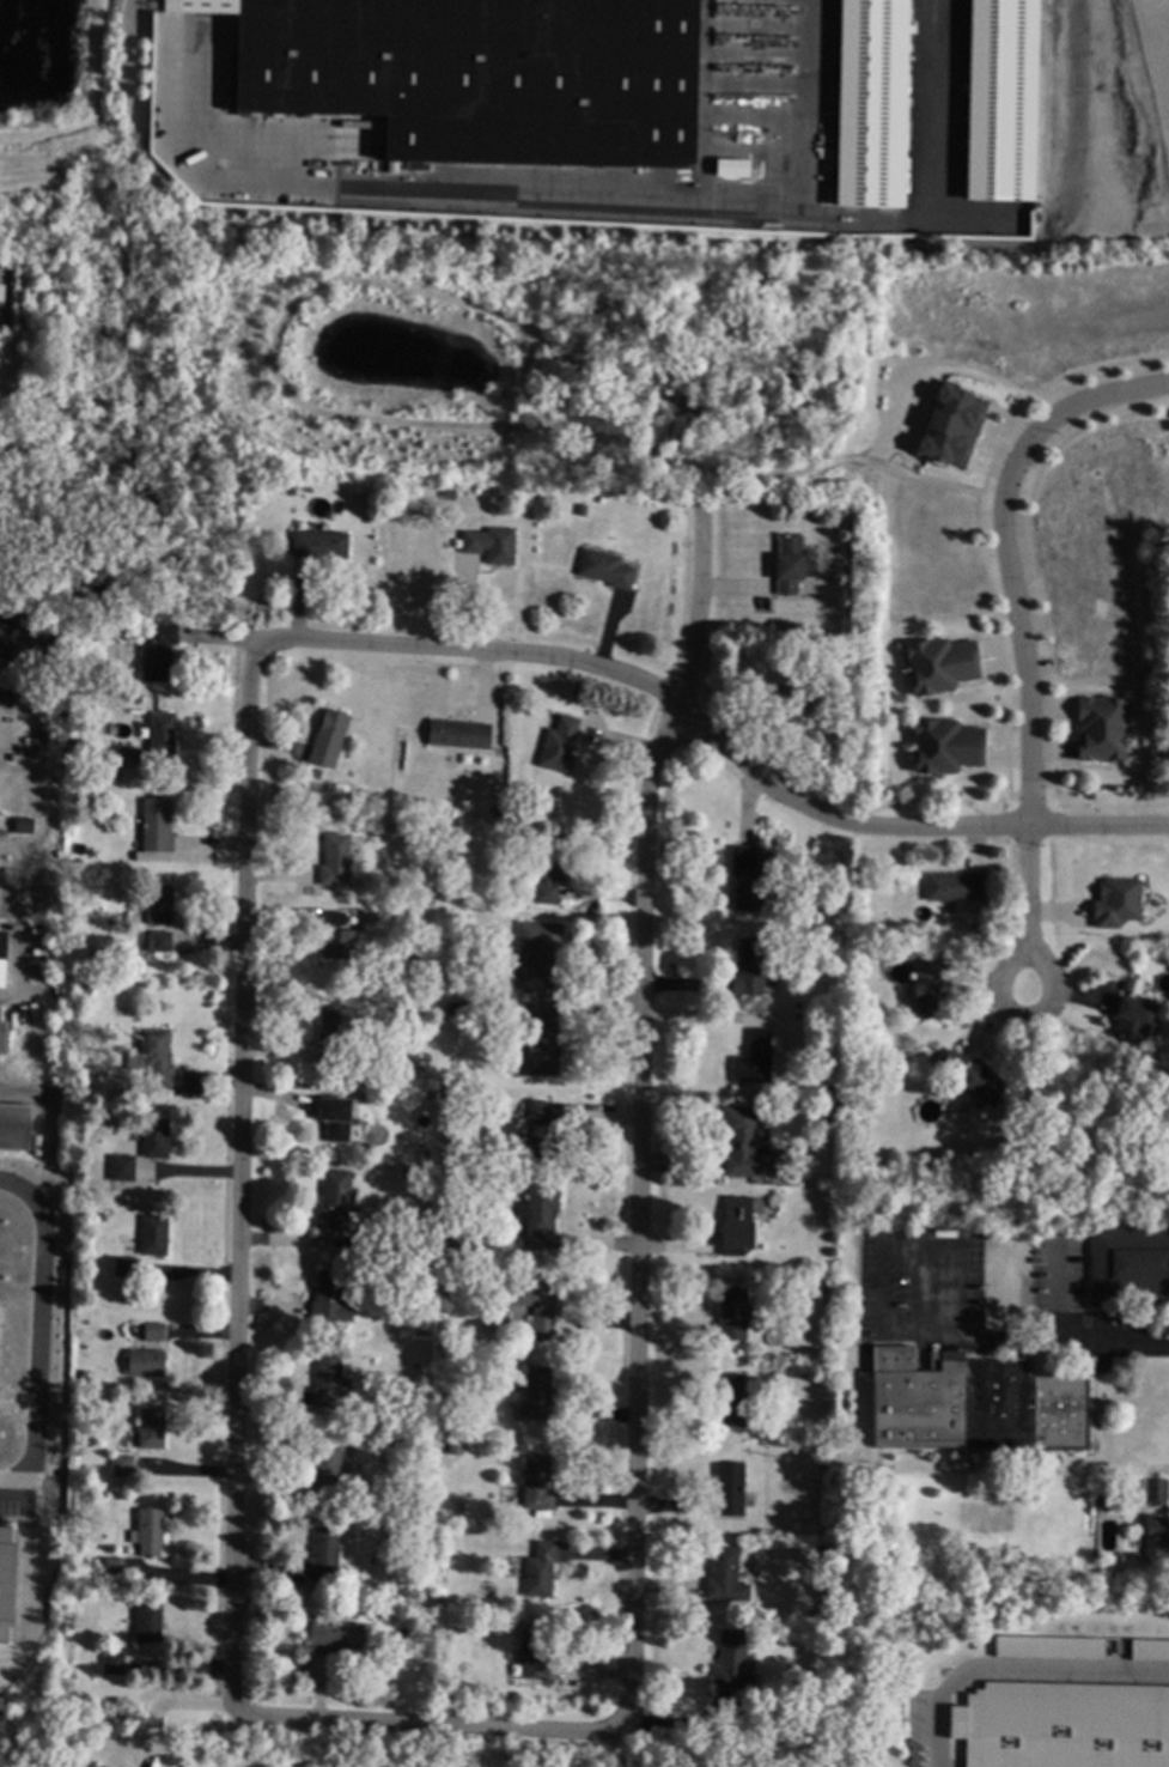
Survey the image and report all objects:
building: (479, 73)
building: (871, 103)
road: (522, 379)
road: (364, 420)
building: (1165, 424)
building: (950, 429)
building: (288, 488)
building: (446, 494)
building: (579, 509)
building: (836, 520)
road: (979, 530)
building: (318, 544)
building: (489, 544)
road: (1003, 553)
building: (790, 564)
building: (603, 567)
building: (103, 618)
building: (19, 640)
building: (829, 640)
building: (154, 649)
building: (938, 663)
building: (800, 686)
building: (1098, 727)
building: (160, 731)
building: (458, 733)
building: (327, 737)
road: (713, 740)
building: (75, 742)
building: (558, 743)
building: (943, 745)
building: (126, 757)
building: (313, 773)
building: (528, 803)
building: (493, 810)
building: (22, 825)
building: (154, 825)
building: (335, 861)
building: (547, 869)
building: (745, 879)
building: (951, 886)
building: (524, 891)
building: (425, 898)
building: (157, 903)
building: (853, 904)
building: (1115, 905)
road: (1021, 911)
building: (349, 915)
building: (367, 916)
building: (334, 935)
building: (154, 941)
building: (1, 954)
building: (536, 954)
building: (747, 966)
road: (23, 977)
building: (925, 989)
building: (829, 1000)
building: (457, 1008)
building: (1130, 1016)
building: (335, 1028)
building: (540, 1040)
building: (156, 1057)
building: (753, 1058)
building: (134, 1062)
building: (970, 1076)
building: (829, 1089)
building: (428, 1092)
building: (850, 1103)
building: (824, 1111)
road: (640, 1116)
building: (1057, 1116)
building: (334, 1117)
building: (14, 1125)
building: (541, 1129)
building: (153, 1137)
building: (1102, 1137)
building: (748, 1147)
building: (369, 1148)
building: (121, 1167)
road: (233, 1173)
building: (331, 1200)
building: (536, 1213)
building: (735, 1225)
building: (152, 1234)
building: (451, 1241)
building: (481, 1244)
road: (891, 1250)
building: (1128, 1262)
building: (443, 1263)
building: (122, 1267)
building: (450, 1285)
building: (325, 1294)
building: (535, 1298)
road: (1055, 1300)
building: (823, 1301)
building: (730, 1313)
building: (449, 1324)
building: (152, 1331)
road: (44, 1335)
road: (1057, 1347)
building: (142, 1362)
building: (325, 1380)
building: (425, 1385)
building: (534, 1395)
building: (727, 1399)
building: (970, 1403)
building: (148, 1427)
building: (459, 1444)
building: (395, 1445)
building: (118, 1464)
building: (821, 1464)
building: (327, 1470)
building: (535, 1482)
building: (727, 1489)
building: (1153, 1489)
building: (146, 1530)
building: (443, 1531)
building: (1153, 1535)
building: (323, 1553)
building: (79, 1563)
building: (110, 1566)
building: (537, 1568)
building: (724, 1575)
building: (6, 1579)
building: (380, 1598)
building: (814, 1611)
building: (379, 1613)
building: (146, 1622)
building: (452, 1628)
building: (333, 1633)
building: (1046, 1650)
building: (1149, 1652)
building: (531, 1653)
building: (110, 1662)
building: (731, 1662)
road: (164, 1705)
building: (751, 1705)
road: (424, 1724)
building: (1063, 1726)

